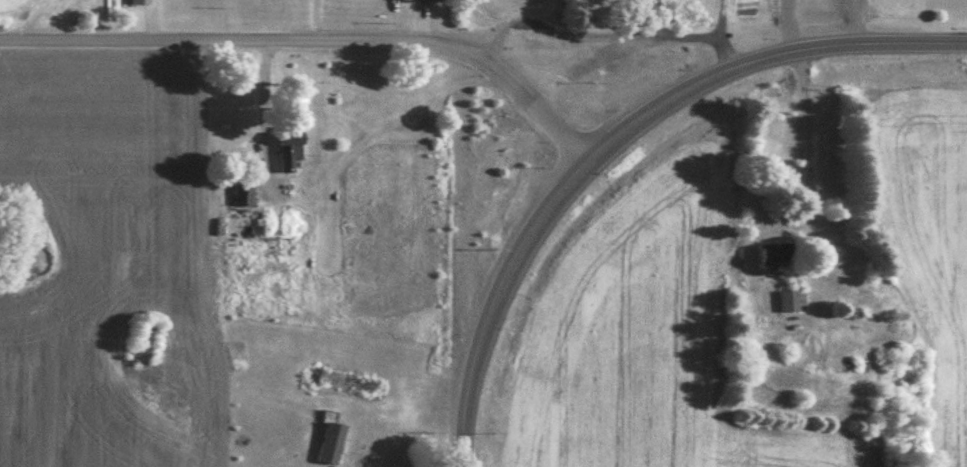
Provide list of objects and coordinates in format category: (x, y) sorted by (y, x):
building: (139, 0)
road: (315, 46)
road: (763, 57)
building: (289, 147)
building: (241, 191)
building: (267, 242)
building: (776, 252)
road: (490, 298)
building: (787, 299)
building: (330, 441)

